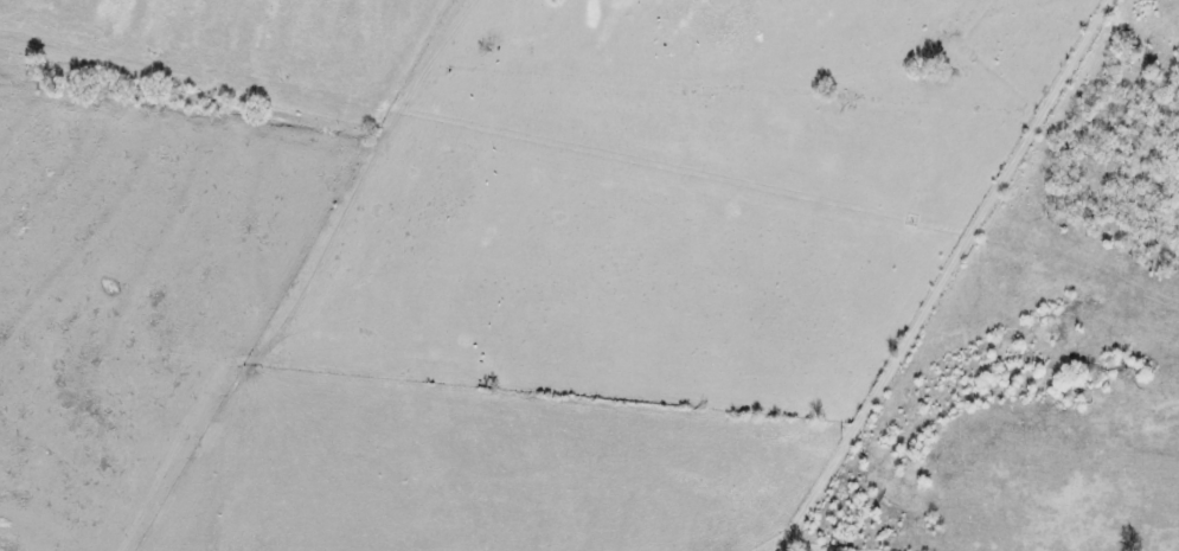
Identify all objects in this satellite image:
road: (960, 283)

